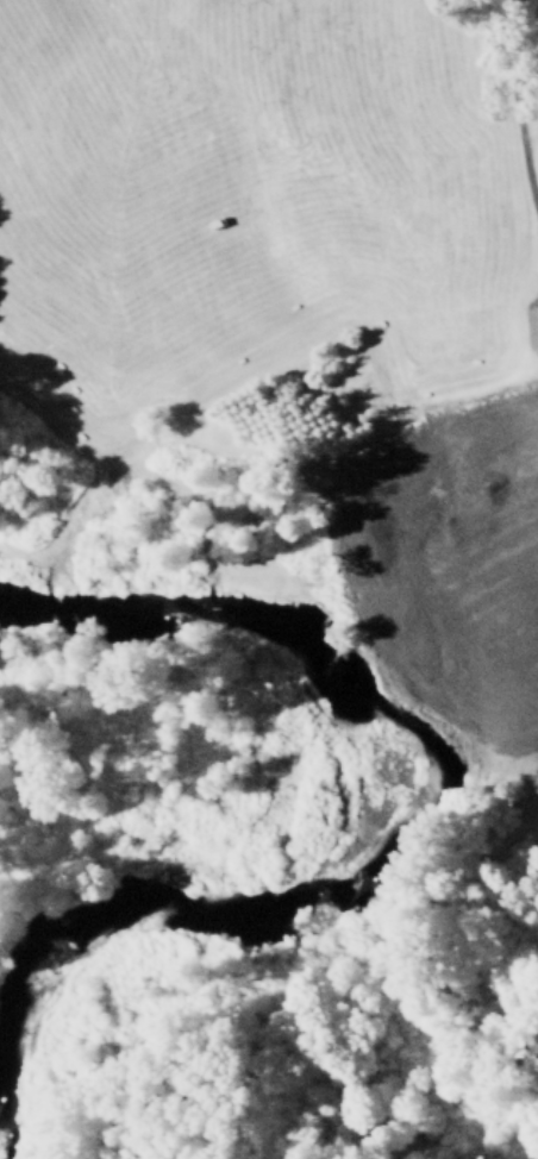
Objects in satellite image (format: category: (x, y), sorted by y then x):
crop: (288, 212)
building: (533, 325)
river: (351, 839)

